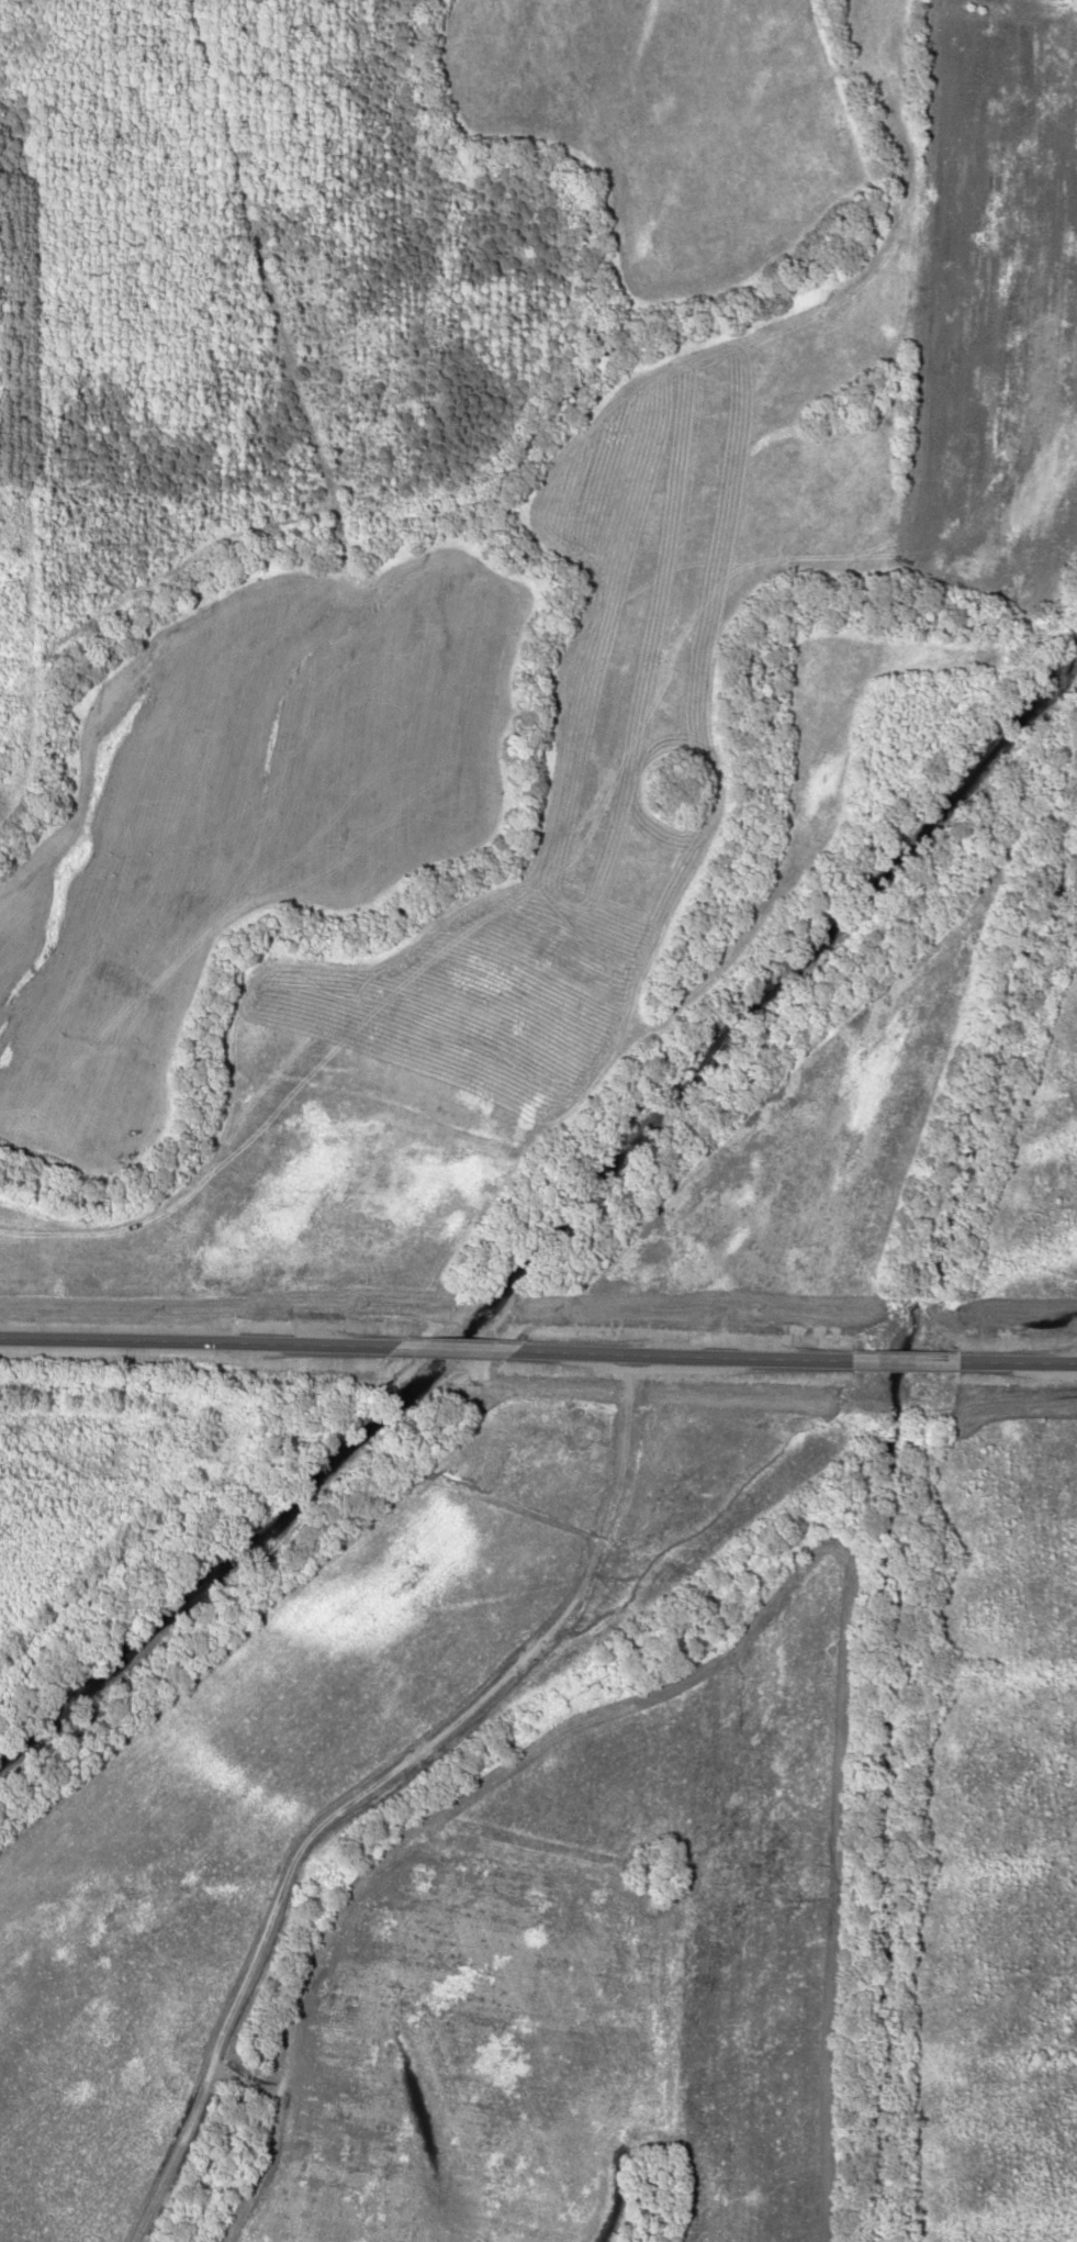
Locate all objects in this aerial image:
road: (198, 1342)
road: (456, 1349)
road: (683, 1359)
road: (906, 1361)
road: (1019, 1362)

